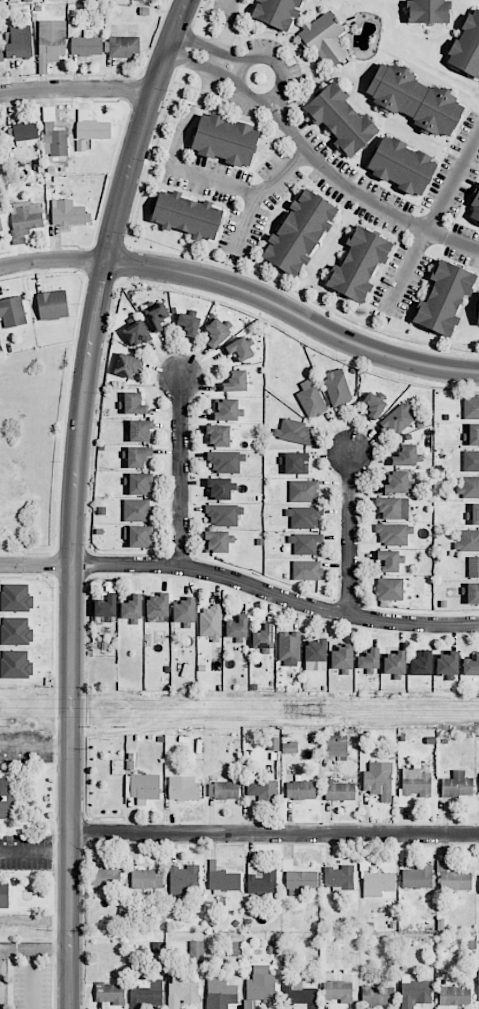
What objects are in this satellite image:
building: (428, 11)
road: (232, 12)
building: (276, 12)
building: (325, 38)
building: (51, 41)
building: (19, 42)
building: (86, 45)
building: (467, 45)
building: (124, 47)
building: (1, 53)
road: (207, 55)
road: (215, 65)
road: (241, 70)
road: (76, 86)
road: (277, 99)
building: (415, 99)
building: (342, 119)
building: (90, 129)
building: (22, 131)
building: (53, 135)
building: (225, 139)
building: (402, 165)
road: (214, 181)
road: (364, 196)
building: (474, 208)
building: (68, 213)
building: (187, 214)
building: (25, 217)
road: (430, 222)
road: (246, 223)
building: (1, 227)
building: (299, 232)
building: (359, 264)
road: (245, 290)
building: (443, 298)
building: (52, 305)
building: (12, 312)
building: (157, 316)
building: (478, 316)
building: (189, 324)
building: (216, 332)
building: (136, 333)
building: (239, 349)
building: (127, 365)
building: (236, 381)
building: (337, 387)
building: (311, 399)
building: (134, 403)
building: (374, 405)
building: (471, 407)
building: (227, 410)
building: (399, 418)
building: (140, 430)
building: (292, 431)
building: (473, 434)
building: (219, 435)
building: (138, 456)
building: (405, 456)
building: (225, 461)
building: (471, 461)
building: (296, 463)
road: (181, 474)
building: (397, 482)
building: (140, 483)
building: (468, 487)
building: (219, 488)
building: (303, 491)
road: (75, 496)
building: (393, 508)
building: (136, 509)
building: (223, 514)
building: (475, 514)
building: (304, 517)
building: (393, 533)
road: (350, 534)
building: (140, 536)
building: (468, 541)
building: (218, 542)
building: (305, 543)
building: (389, 560)
building: (473, 567)
building: (307, 570)
road: (241, 583)
building: (389, 589)
building: (473, 593)
building: (16, 598)
building: (158, 605)
building: (106, 608)
building: (132, 609)
building: (184, 612)
building: (211, 622)
building: (237, 627)
building: (16, 631)
building: (264, 639)
building: (289, 646)
building: (315, 654)
building: (342, 657)
building: (369, 660)
building: (394, 662)
building: (447, 662)
building: (15, 664)
building: (421, 664)
building: (471, 666)
power tower: (320, 709)
road: (36, 743)
building: (289, 747)
building: (336, 748)
building: (378, 780)
building: (416, 782)
building: (457, 785)
building: (142, 787)
building: (183, 788)
building: (262, 789)
building: (226, 790)
building: (300, 790)
building: (338, 790)
building: (6, 796)
road: (275, 832)
road: (36, 853)
building: (478, 876)
building: (106, 877)
building: (298, 877)
building: (417, 877)
building: (338, 878)
building: (453, 878)
building: (146, 879)
building: (183, 879)
building: (222, 879)
building: (261, 880)
building: (378, 884)
building: (4, 895)
road: (35, 920)
road: (33, 948)
building: (196, 952)
road: (31, 979)
building: (478, 981)
building: (260, 985)
building: (181, 990)
building: (338, 991)
building: (414, 991)
building: (111, 993)
building: (146, 993)
building: (220, 993)
building: (299, 995)
building: (377, 995)
building: (453, 997)

